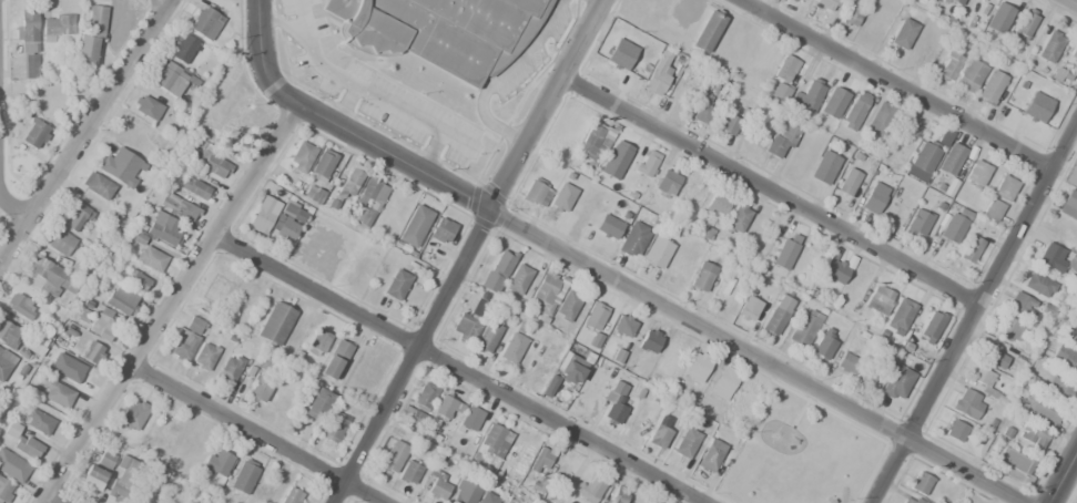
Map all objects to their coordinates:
building: (799, 0)
building: (800, 0)
building: (825, 3)
building: (951, 3)
building: (850, 16)
building: (998, 18)
building: (207, 20)
building: (1025, 22)
building: (55, 24)
building: (440, 31)
building: (708, 31)
building: (903, 33)
building: (91, 37)
building: (28, 44)
building: (1049, 47)
building: (184, 49)
building: (1074, 52)
building: (620, 54)
road: (256, 58)
building: (947, 65)
building: (785, 66)
building: (658, 74)
building: (968, 74)
building: (171, 78)
building: (690, 78)
building: (990, 88)
road: (891, 89)
building: (780, 92)
building: (809, 94)
building: (833, 103)
road: (548, 104)
building: (146, 107)
building: (1036, 107)
building: (704, 110)
building: (855, 111)
building: (878, 116)
building: (728, 123)
road: (79, 126)
building: (35, 134)
building: (782, 137)
building: (944, 137)
building: (595, 142)
road: (389, 155)
building: (925, 155)
building: (301, 156)
building: (951, 160)
building: (210, 162)
building: (323, 163)
building: (647, 163)
building: (121, 166)
building: (824, 167)
building: (976, 173)
building: (667, 179)
building: (849, 182)
building: (349, 183)
building: (96, 185)
building: (195, 188)
building: (1004, 188)
road: (774, 189)
building: (537, 193)
building: (313, 194)
building: (562, 198)
building: (1069, 198)
building: (873, 199)
building: (372, 201)
building: (718, 204)
road: (12, 206)
building: (179, 206)
building: (992, 209)
building: (264, 215)
building: (77, 217)
building: (736, 217)
building: (287, 223)
building: (918, 223)
building: (414, 226)
building: (608, 227)
building: (952, 228)
building: (441, 230)
building: (165, 232)
building: (136, 238)
building: (633, 239)
building: (60, 242)
building: (969, 249)
building: (657, 251)
building: (784, 253)
building: (806, 255)
building: (1051, 257)
building: (150, 258)
building: (78, 266)
building: (833, 270)
building: (497, 271)
building: (701, 276)
building: (52, 277)
building: (518, 279)
building: (135, 280)
building: (396, 285)
building: (1037, 285)
building: (219, 286)
building: (547, 292)
building: (122, 299)
building: (878, 299)
building: (21, 305)
road: (174, 305)
building: (567, 306)
building: (1020, 306)
building: (748, 309)
building: (776, 315)
building: (1076, 315)
building: (595, 316)
building: (898, 316)
road: (975, 316)
building: (1076, 317)
building: (469, 322)
building: (276, 324)
building: (101, 325)
building: (623, 325)
building: (931, 326)
building: (803, 328)
building: (1008, 330)
building: (1070, 332)
building: (8, 333)
building: (488, 336)
building: (185, 337)
building: (318, 341)
building: (649, 341)
building: (35, 345)
building: (822, 345)
building: (512, 348)
building: (92, 352)
building: (204, 356)
road: (413, 356)
road: (754, 357)
building: (996, 359)
building: (1063, 359)
building: (335, 360)
building: (4, 362)
building: (264, 362)
building: (846, 363)
building: (697, 366)
building: (230, 368)
road: (460, 368)
building: (572, 369)
building: (77, 371)
building: (867, 377)
building: (983, 377)
building: (723, 382)
building: (895, 382)
building: (260, 388)
building: (549, 388)
building: (1058, 391)
building: (57, 394)
building: (425, 396)
building: (613, 403)
building: (967, 403)
building: (317, 404)
building: (445, 408)
building: (1036, 410)
building: (133, 414)
building: (412, 417)
building: (470, 419)
building: (38, 421)
building: (333, 427)
building: (11, 430)
building: (955, 431)
building: (658, 433)
road: (255, 434)
building: (1033, 434)
building: (495, 440)
building: (685, 442)
building: (28, 444)
building: (711, 454)
park: (797, 454)
building: (393, 456)
building: (105, 460)
building: (540, 461)
building: (216, 462)
building: (1014, 464)
building: (12, 466)
building: (409, 473)
road: (1061, 475)
building: (92, 476)
building: (122, 479)
building: (242, 481)
building: (919, 482)
building: (439, 486)
building: (590, 489)
building: (4, 490)
building: (465, 492)
building: (619, 495)
building: (293, 496)
building: (487, 497)
road: (63, 499)
building: (167, 500)
building: (910, 500)

